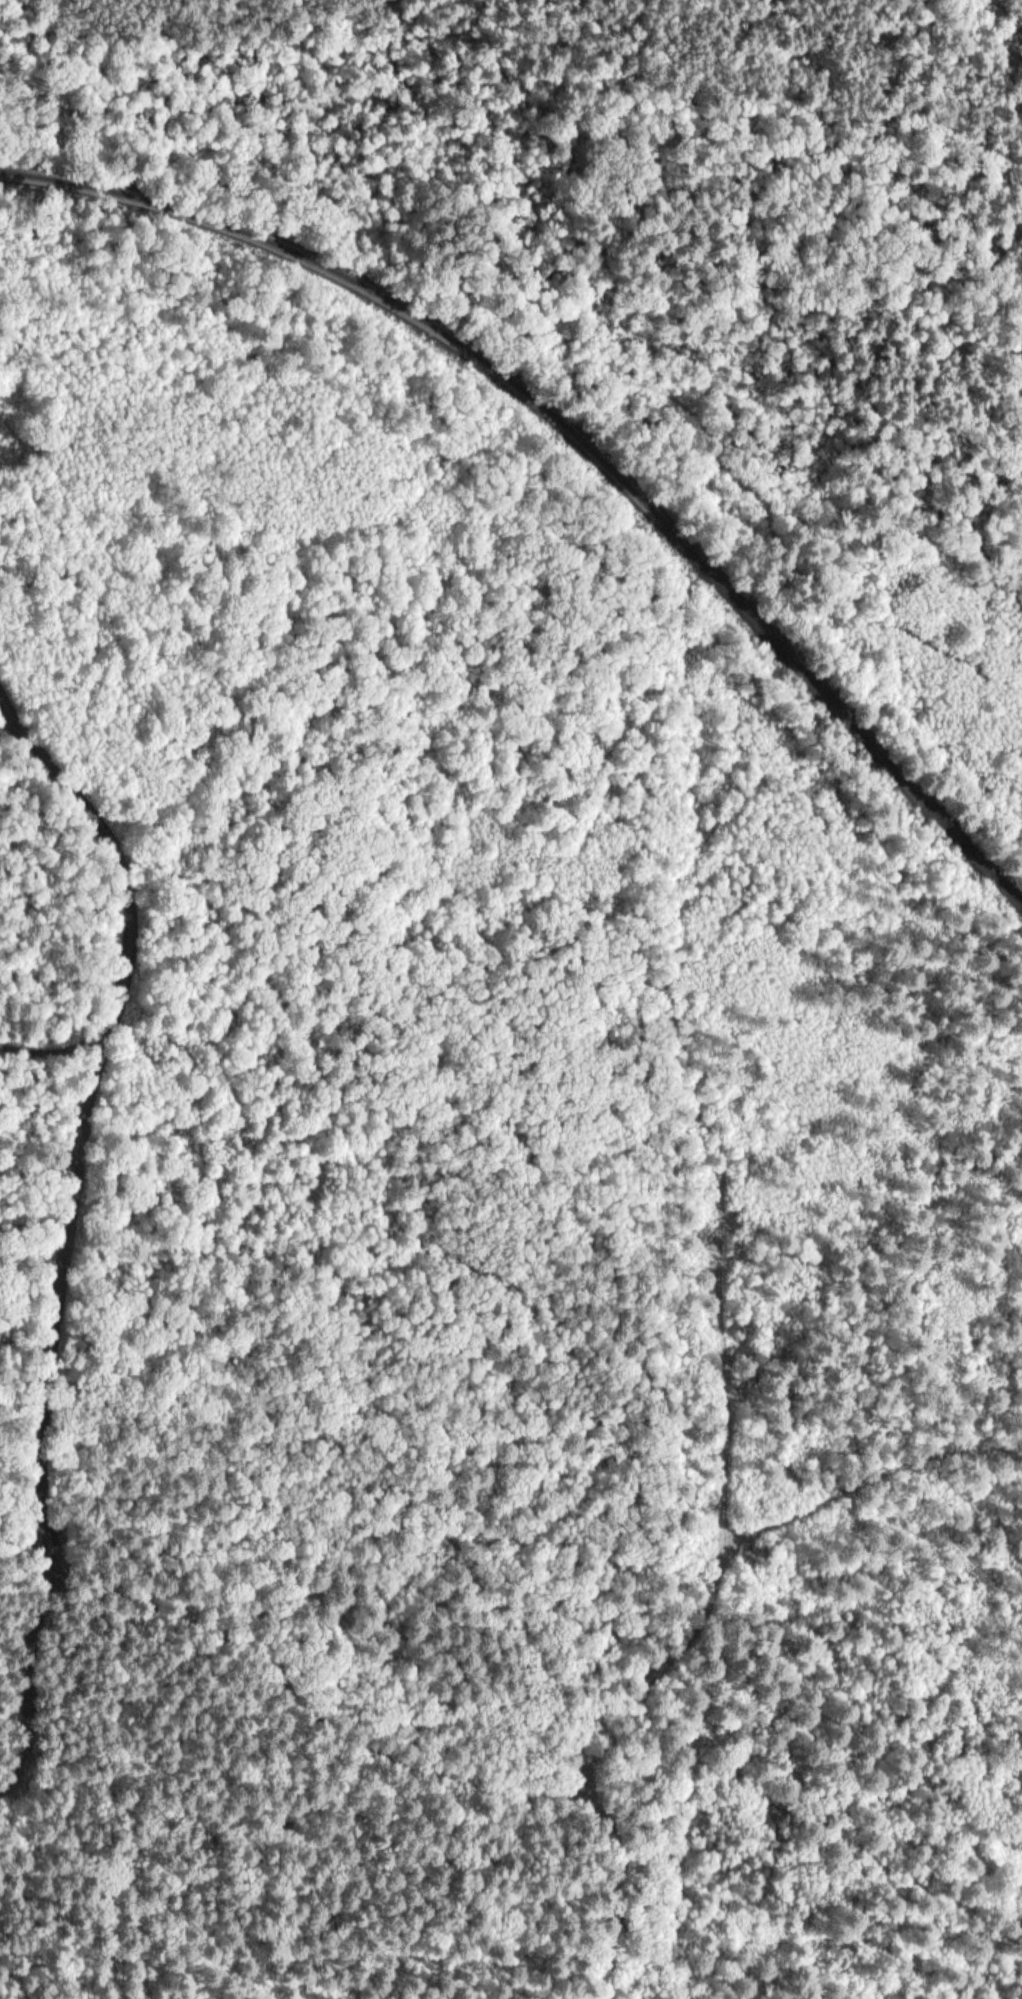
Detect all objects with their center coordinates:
road: (93, 165)
road: (747, 227)
road: (534, 327)
railway: (575, 436)
road: (303, 1101)
road: (76, 1238)
road: (719, 1329)
road: (321, 1717)
road: (598, 1880)

